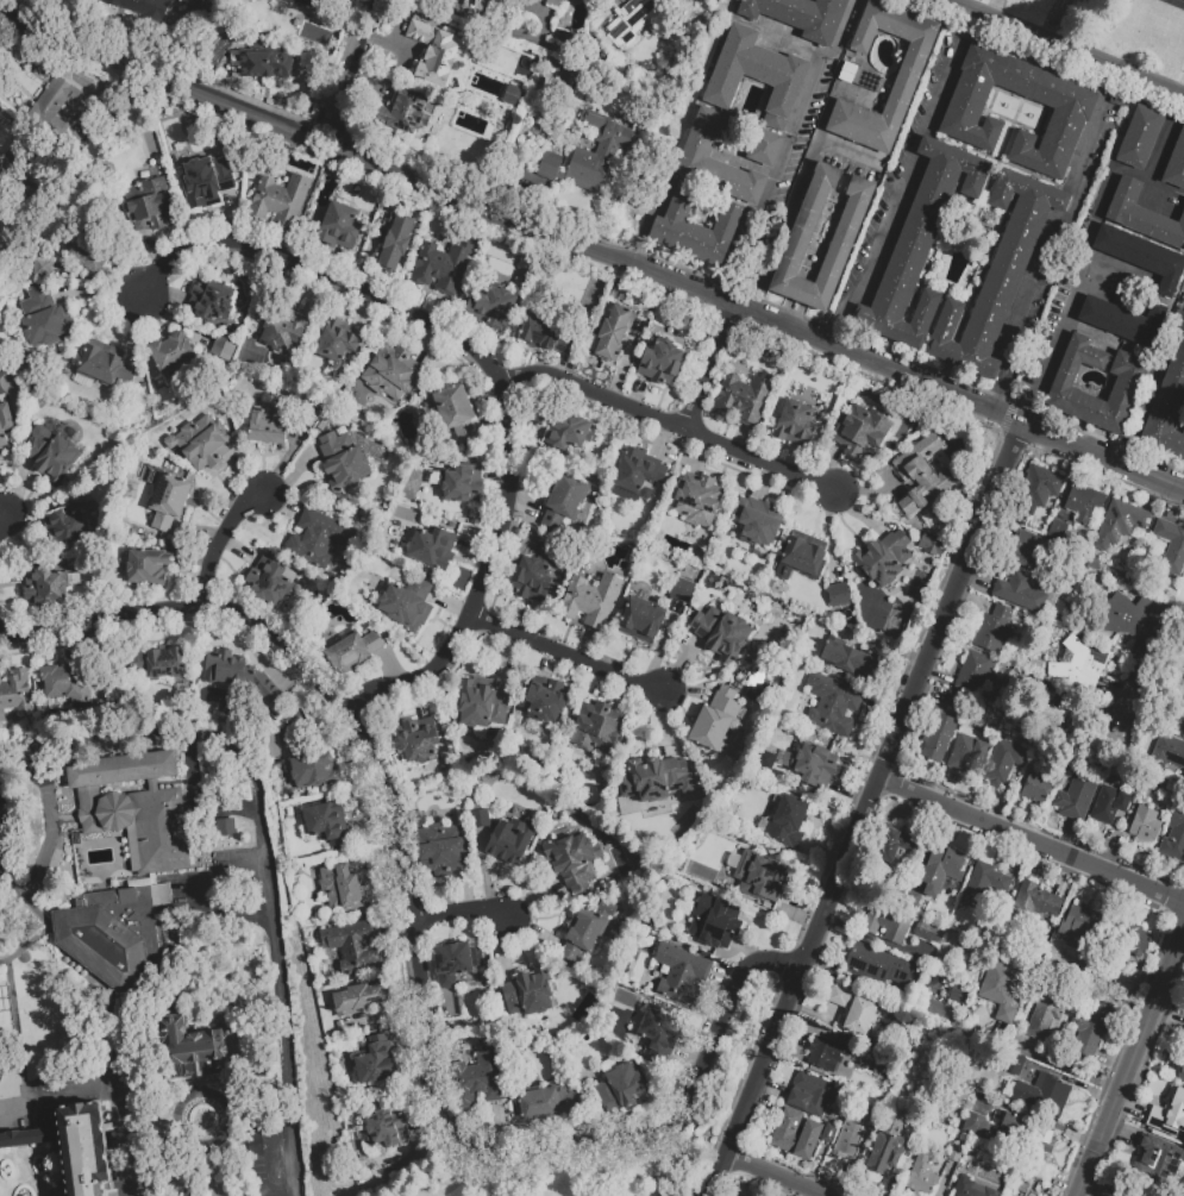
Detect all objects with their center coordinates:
building: (261, 0)
building: (289, 1)
building: (312, 2)
building: (553, 2)
building: (143, 8)
building: (797, 18)
building: (631, 19)
road: (509, 30)
road: (1070, 45)
building: (436, 50)
building: (264, 61)
road: (1042, 65)
road: (345, 71)
building: (757, 77)
building: (909, 79)
road: (159, 80)
building: (509, 93)
building: (1120, 100)
parking lot: (921, 108)
building: (55, 111)
building: (406, 111)
building: (1073, 114)
building: (2, 124)
parking lot: (810, 124)
building: (1141, 138)
building: (765, 148)
road: (787, 149)
parking lot: (1101, 149)
road: (1164, 150)
road: (851, 151)
building: (589, 155)
building: (718, 163)
building: (1177, 167)
parking lot: (852, 168)
building: (207, 182)
road: (802, 187)
building: (280, 201)
road: (469, 202)
building: (149, 207)
building: (0, 211)
building: (1144, 217)
road: (232, 218)
building: (339, 228)
building: (697, 231)
building: (801, 238)
road: (278, 240)
parking lot: (869, 240)
building: (395, 244)
building: (921, 246)
road: (152, 250)
road: (371, 252)
building: (89, 255)
building: (1144, 258)
road: (338, 263)
building: (443, 268)
road: (1090, 268)
building: (43, 269)
building: (1000, 276)
road: (99, 280)
road: (96, 293)
road: (311, 294)
park: (593, 295)
road: (171, 296)
building: (212, 301)
building: (493, 309)
road: (439, 311)
road: (363, 313)
building: (44, 321)
road: (176, 321)
building: (1126, 323)
parking lot: (1041, 324)
road: (132, 330)
building: (282, 331)
road: (472, 334)
building: (549, 336)
building: (614, 336)
building: (339, 342)
road: (426, 345)
building: (224, 349)
building: (171, 353)
road: (626, 361)
building: (105, 365)
road: (558, 365)
building: (662, 365)
road: (710, 369)
building: (393, 374)
road: (901, 376)
road: (496, 378)
building: (1129, 384)
road: (1152, 384)
road: (640, 394)
parking lot: (1019, 394)
building: (744, 399)
building: (1167, 407)
building: (307, 417)
building: (453, 417)
building: (5, 422)
road: (490, 424)
road: (670, 424)
building: (796, 425)
building: (268, 426)
road: (528, 427)
building: (566, 432)
building: (862, 433)
road: (743, 439)
road: (660, 440)
building: (201, 444)
building: (52, 457)
road: (287, 457)
road: (702, 457)
road: (794, 458)
building: (343, 463)
road: (833, 466)
road: (297, 472)
building: (640, 472)
road: (244, 475)
road: (496, 475)
building: (922, 477)
road: (763, 483)
building: (463, 484)
road: (20, 488)
building: (1039, 490)
road: (872, 494)
building: (696, 500)
building: (169, 502)
building: (565, 502)
road: (280, 507)
road: (526, 507)
road: (2, 511)
building: (1077, 511)
road: (2, 516)
road: (860, 518)
building: (1123, 521)
building: (759, 522)
road: (23, 527)
building: (67, 528)
road: (196, 533)
road: (219, 538)
road: (832, 538)
building: (320, 539)
building: (430, 546)
building: (932, 547)
building: (1171, 549)
road: (239, 551)
building: (1030, 551)
road: (472, 552)
building: (804, 556)
road: (193, 561)
building: (884, 561)
building: (1094, 564)
building: (150, 568)
road: (13, 580)
building: (531, 580)
building: (269, 583)
road: (977, 583)
building: (44, 588)
building: (683, 591)
building: (1020, 591)
building: (840, 596)
building: (591, 601)
road: (973, 602)
building: (407, 603)
road: (449, 605)
building: (1127, 616)
road: (525, 618)
building: (641, 622)
building: (994, 630)
road: (137, 633)
building: (723, 634)
road: (876, 644)
road: (585, 645)
road: (665, 645)
road: (871, 650)
building: (352, 652)
building: (835, 653)
road: (565, 655)
building: (1072, 655)
building: (159, 662)
road: (506, 662)
building: (858, 664)
road: (264, 665)
road: (387, 665)
road: (546, 666)
road: (106, 669)
road: (684, 669)
building: (237, 671)
building: (1061, 671)
building: (975, 672)
road: (938, 676)
road: (280, 678)
building: (63, 683)
road: (1103, 683)
road: (710, 685)
building: (14, 693)
road: (929, 693)
road: (1127, 694)
road: (624, 696)
building: (545, 701)
building: (480, 702)
building: (954, 702)
road: (421, 705)
building: (832, 705)
road: (878, 710)
building: (1057, 713)
road: (1104, 715)
building: (719, 721)
road: (668, 726)
building: (596, 728)
building: (936, 735)
building: (416, 743)
road: (330, 745)
building: (1166, 751)
building: (965, 752)
building: (1003, 762)
building: (814, 765)
building: (313, 772)
building: (1183, 777)
building: (657, 779)
building: (1036, 787)
road: (967, 788)
building: (1079, 788)
road: (847, 790)
road: (1006, 796)
building: (1109, 804)
building: (134, 807)
road: (1014, 807)
road: (862, 809)
building: (481, 820)
building: (785, 820)
building: (327, 822)
road: (926, 822)
building: (223, 826)
road: (374, 826)
building: (1145, 826)
building: (1173, 835)
road: (1067, 837)
building: (510, 839)
road: (48, 841)
road: (1029, 841)
building: (897, 845)
road: (1119, 846)
road: (1110, 847)
building: (443, 851)
road: (929, 851)
road: (819, 853)
building: (574, 859)
road: (1016, 859)
road: (485, 870)
building: (942, 871)
building: (762, 875)
road: (1063, 878)
building: (986, 882)
building: (344, 885)
road: (466, 891)
road: (388, 893)
road: (533, 896)
building: (913, 902)
road: (800, 903)
building: (1033, 906)
road: (463, 912)
road: (1114, 913)
building: (715, 922)
building: (888, 925)
road: (394, 927)
building: (1082, 929)
building: (585, 931)
building: (931, 933)
road: (538, 934)
building: (109, 937)
road: (276, 943)
building: (351, 943)
road: (877, 943)
building: (1136, 943)
road: (505, 948)
road: (746, 950)
road: (418, 951)
building: (455, 962)
building: (882, 969)
road: (402, 970)
building: (681, 973)
road: (722, 977)
road: (858, 982)
road: (1128, 985)
building: (528, 991)
building: (1002, 991)
building: (961, 996)
building: (359, 998)
road: (1170, 1008)
road: (451, 1009)
building: (856, 1010)
road: (401, 1012)
building: (4, 1014)
road: (815, 1014)
building: (1046, 1016)
road: (808, 1028)
building: (1094, 1032)
building: (658, 1033)
road: (1051, 1041)
road: (411, 1046)
building: (829, 1052)
road: (690, 1053)
park: (733, 1053)
building: (193, 1054)
building: (375, 1060)
road: (1051, 1063)
road: (1130, 1065)
building: (1014, 1066)
building: (1180, 1075)
building: (477, 1077)
road: (1071, 1082)
building: (624, 1087)
road: (772, 1089)
road: (55, 1096)
building: (813, 1096)
building: (1045, 1096)
building: (546, 1101)
building: (1170, 1108)
road: (125, 1114)
road: (1032, 1117)
building: (896, 1120)
building: (875, 1121)
road: (621, 1123)
road: (500, 1126)
road: (571, 1127)
building: (977, 1127)
road: (427, 1128)
building: (384, 1129)
building: (829, 1135)
building: (796, 1136)
building: (850, 1138)
building: (1028, 1138)
building: (74, 1146)
building: (958, 1154)
building: (885, 1156)
road: (904, 1156)
building: (1007, 1158)
road: (292, 1159)
building: (1155, 1159)
parking lot: (257, 1161)
road: (859, 1161)
road: (654, 1165)
road: (817, 1167)
building: (1027, 1170)
road: (465, 1176)
road: (773, 1177)
road: (946, 1178)
building: (922, 1179)
road: (1059, 1179)
building: (972, 1189)
road: (808, 1194)
road: (816, 1195)

